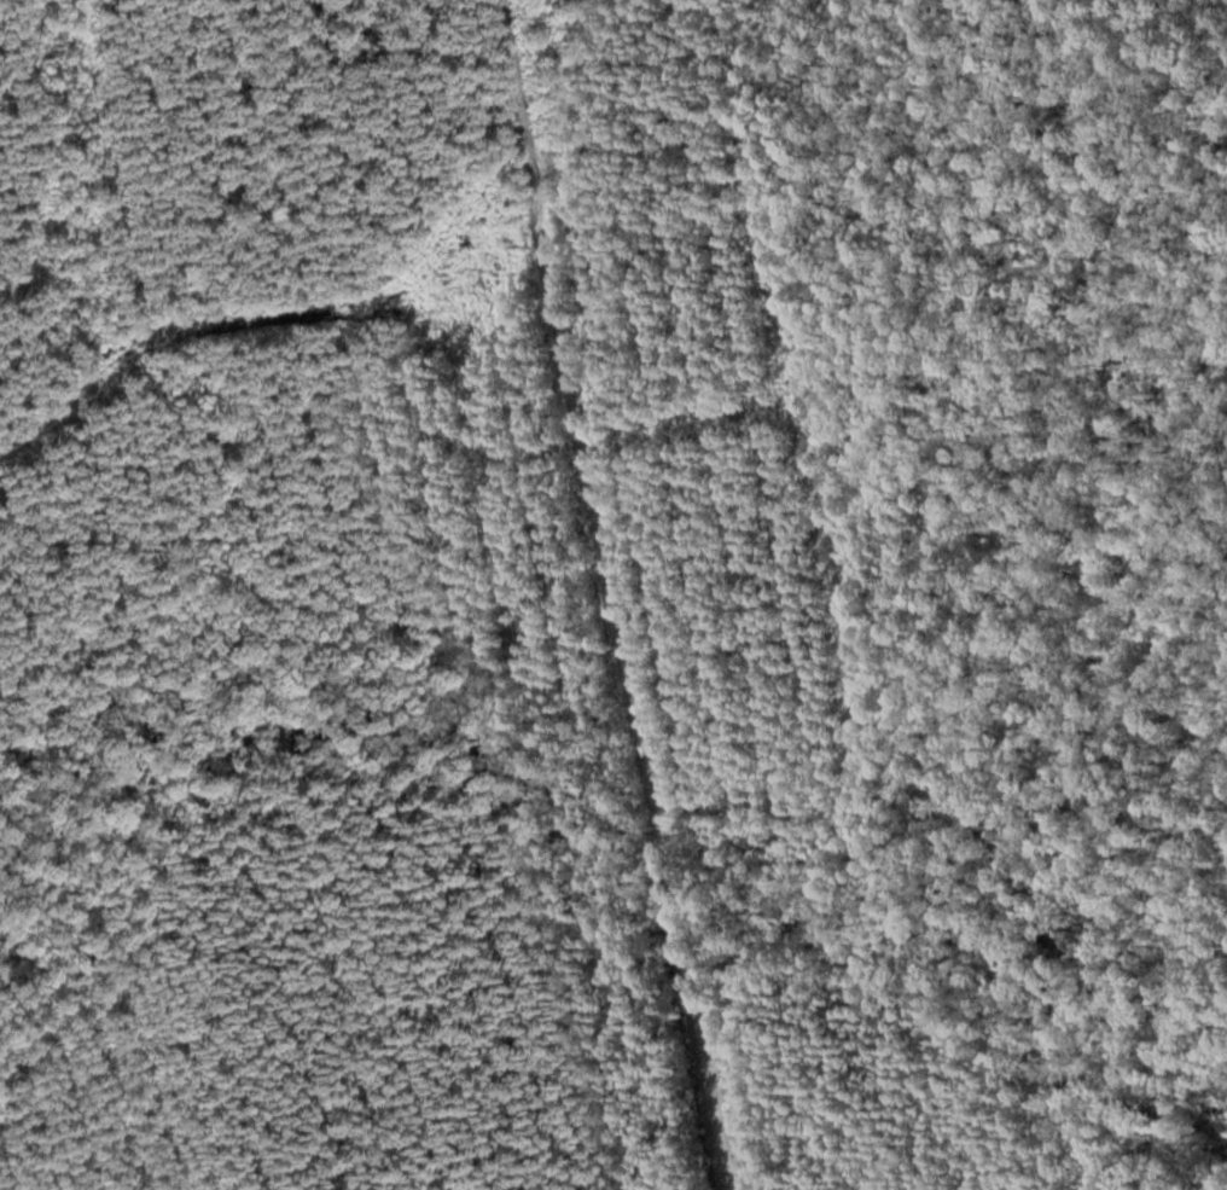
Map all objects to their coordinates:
road: (641, 597)

